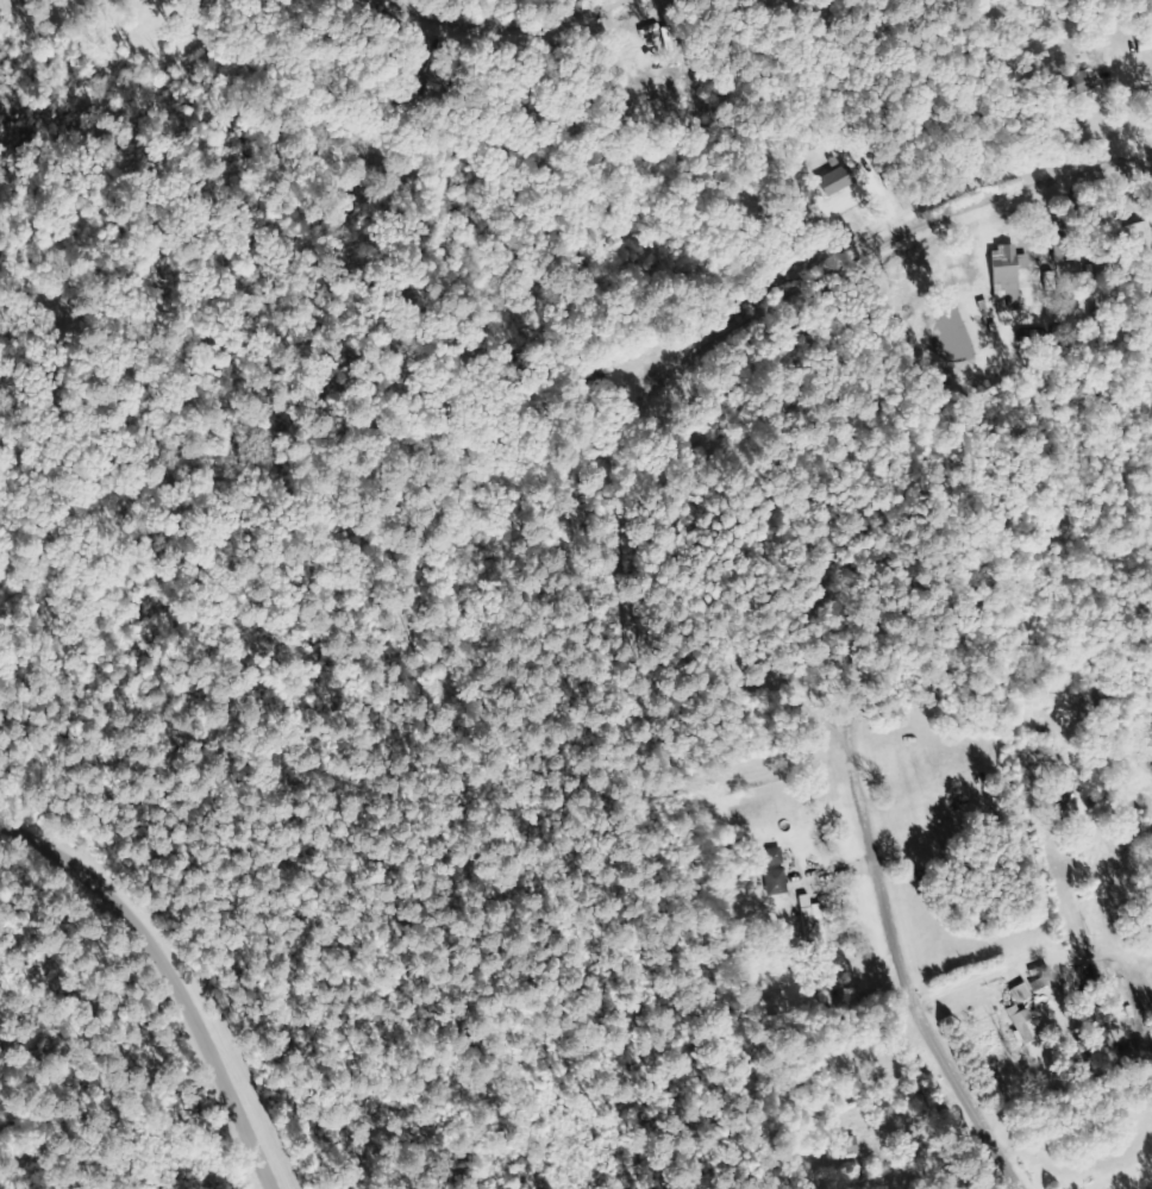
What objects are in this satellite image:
road: (630, 30)
building: (1082, 85)
building: (840, 181)
building: (1138, 238)
building: (1008, 273)
road: (912, 289)
building: (1034, 338)
building: (608, 421)
building: (624, 453)
building: (775, 858)
building: (777, 882)
building: (814, 920)
road: (900, 969)
road: (169, 977)
building: (1022, 993)
building: (1022, 1024)
building: (852, 1146)

